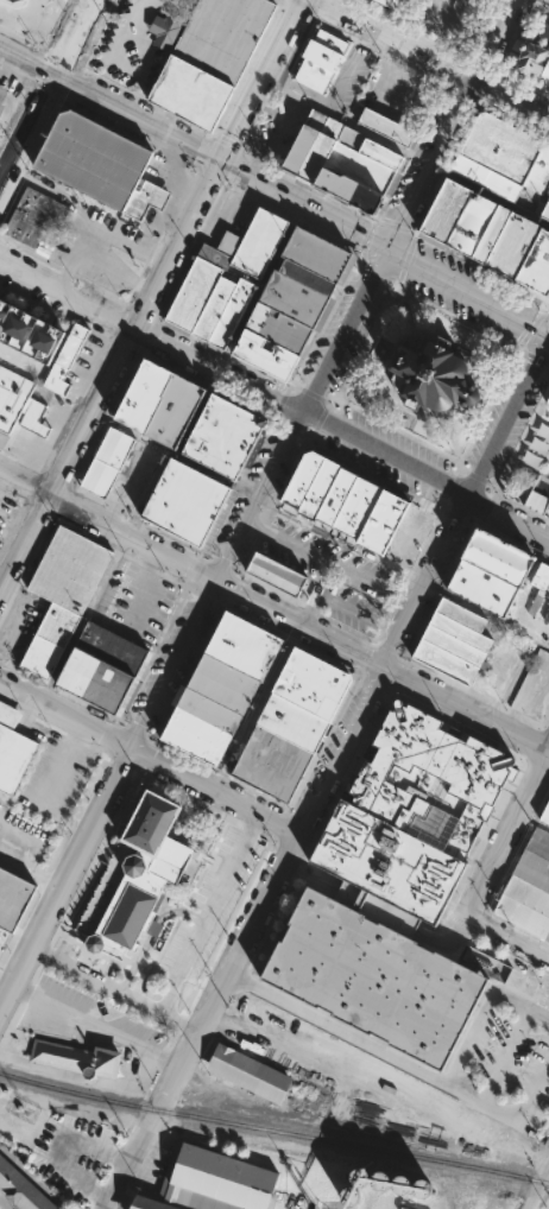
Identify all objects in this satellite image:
road: (145, 6)
building: (390, 6)
road: (135, 25)
building: (165, 29)
road: (71, 37)
building: (223, 37)
road: (437, 59)
building: (531, 59)
building: (322, 62)
traffic signals: (53, 74)
road: (255, 78)
building: (191, 94)
building: (2, 99)
road: (340, 118)
road: (438, 122)
road: (26, 125)
parking lot: (278, 128)
building: (385, 128)
road: (7, 145)
road: (190, 145)
building: (501, 146)
building: (309, 148)
building: (368, 151)
building: (93, 157)
traffic signals: (217, 159)
road: (176, 166)
building: (358, 170)
building: (539, 170)
building: (484, 176)
road: (44, 189)
road: (485, 192)
building: (348, 195)
road: (160, 197)
building: (548, 197)
building: (146, 200)
building: (545, 209)
building: (440, 211)
building: (34, 215)
road: (86, 216)
building: (466, 224)
road: (96, 226)
road: (147, 226)
building: (486, 235)
building: (248, 242)
building: (507, 246)
traffic signals: (381, 247)
parking lot: (103, 251)
building: (315, 257)
building: (534, 266)
road: (113, 271)
road: (259, 286)
road: (465, 292)
building: (296, 296)
building: (194, 297)
building: (214, 310)
flagpole: (418, 311)
building: (232, 317)
road: (341, 330)
building: (29, 331)
building: (278, 331)
road: (150, 334)
building: (71, 347)
building: (263, 357)
road: (19, 360)
road: (99, 369)
road: (109, 376)
building: (429, 379)
building: (57, 381)
building: (143, 394)
building: (13, 395)
building: (547, 400)
building: (173, 410)
road: (61, 413)
road: (509, 418)
building: (34, 419)
road: (43, 429)
building: (542, 429)
building: (220, 438)
building: (536, 443)
road: (172, 455)
road: (29, 456)
road: (384, 456)
building: (529, 457)
building: (106, 461)
building: (299, 481)
building: (317, 490)
road: (146, 492)
building: (334, 499)
building: (535, 502)
building: (187, 506)
building: (355, 509)
parking lot: (7, 512)
road: (509, 519)
building: (383, 524)
road: (264, 526)
parking lot: (411, 539)
parking lot: (1, 542)
building: (496, 556)
parking lot: (330, 558)
road: (333, 562)
road: (190, 568)
building: (70, 569)
road: (4, 575)
building: (277, 575)
road: (214, 578)
building: (539, 583)
building: (481, 585)
building: (548, 591)
road: (398, 594)
parking lot: (137, 606)
parking lot: (351, 607)
building: (461, 614)
road: (83, 615)
building: (547, 615)
building: (460, 631)
road: (532, 634)
building: (50, 640)
building: (453, 644)
building: (244, 645)
building: (112, 647)
building: (444, 660)
road: (381, 664)
building: (94, 679)
building: (223, 683)
building: (311, 683)
parking lot: (535, 690)
road: (254, 705)
road: (460, 708)
building: (209, 710)
building: (292, 722)
building: (196, 736)
road: (544, 741)
road: (544, 752)
building: (13, 753)
road: (147, 753)
building: (272, 762)
railway: (328, 767)
parking lot: (59, 777)
building: (545, 814)
road: (498, 833)
building: (535, 859)
road: (29, 867)
road: (64, 873)
building: (140, 875)
building: (392, 892)
building: (13, 897)
parking lot: (213, 904)
building: (525, 906)
road: (207, 911)
road: (453, 932)
road: (504, 939)
building: (0, 964)
road: (112, 985)
road: (541, 1008)
road: (200, 1019)
parking lot: (87, 1020)
road: (93, 1024)
road: (471, 1033)
road: (507, 1053)
building: (76, 1059)
parking lot: (505, 1061)
building: (248, 1072)
road: (376, 1082)
road: (526, 1104)
railway: (273, 1129)
road: (59, 1146)
parking lot: (72, 1147)
railway: (362, 1156)
building: (359, 1179)
silo: (359, 1179)
building: (214, 1183)
building: (378, 1184)
silo: (378, 1184)
building: (21, 1188)
building: (400, 1188)
silo: (400, 1188)
road: (538, 1188)
building: (423, 1191)
silo: (423, 1191)
building: (351, 1198)
silo: (351, 1198)

